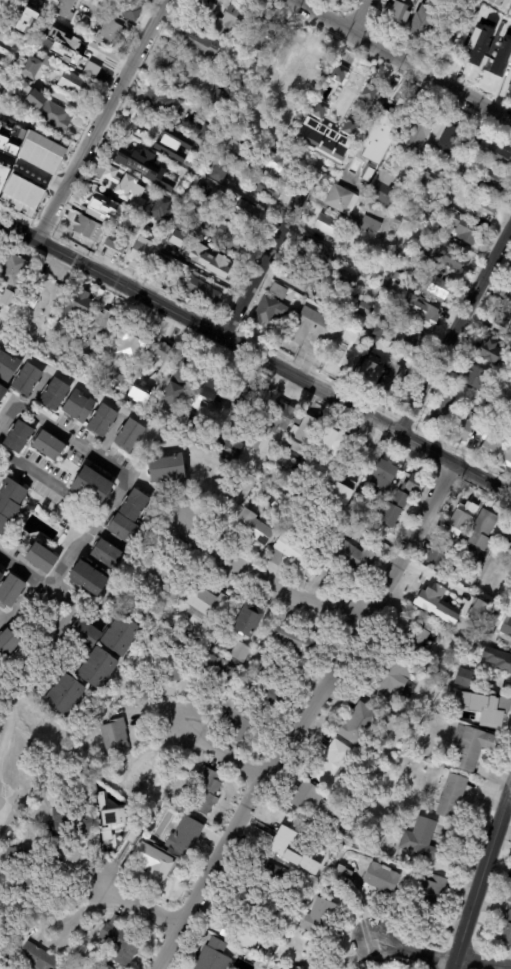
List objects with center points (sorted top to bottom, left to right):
building: (100, 2)
building: (148, 3)
building: (503, 3)
building: (0, 5)
building: (111, 7)
building: (65, 9)
building: (203, 11)
building: (401, 12)
building: (132, 13)
road: (360, 16)
building: (427, 18)
building: (229, 20)
building: (26, 21)
building: (5, 25)
building: (76, 30)
building: (258, 33)
building: (111, 34)
building: (450, 34)
building: (491, 37)
building: (201, 43)
building: (468, 46)
building: (505, 53)
building: (299, 59)
road: (401, 61)
building: (94, 64)
building: (34, 66)
building: (171, 68)
building: (279, 72)
building: (339, 73)
building: (205, 75)
road: (158, 76)
building: (242, 82)
building: (75, 85)
building: (510, 88)
building: (372, 91)
building: (159, 100)
building: (218, 100)
building: (46, 107)
building: (320, 109)
road: (97, 120)
building: (22, 121)
building: (391, 123)
building: (352, 127)
building: (263, 128)
building: (308, 130)
building: (208, 132)
building: (417, 135)
building: (160, 136)
building: (449, 137)
building: (474, 140)
building: (301, 141)
building: (496, 150)
building: (3, 151)
building: (236, 153)
building: (476, 159)
building: (276, 164)
building: (141, 165)
building: (220, 172)
building: (461, 173)
road: (40, 174)
building: (165, 174)
building: (423, 178)
building: (115, 180)
building: (495, 181)
building: (385, 189)
building: (268, 190)
building: (457, 191)
building: (18, 192)
building: (202, 195)
building: (343, 200)
building: (448, 200)
building: (369, 206)
building: (430, 209)
building: (484, 209)
building: (100, 210)
building: (249, 213)
building: (149, 214)
building: (167, 218)
building: (412, 220)
building: (398, 221)
building: (179, 224)
building: (429, 224)
building: (329, 226)
building: (371, 226)
building: (88, 229)
road: (19, 230)
building: (468, 231)
building: (200, 232)
building: (231, 239)
building: (115, 244)
building: (173, 245)
building: (195, 247)
building: (141, 252)
building: (318, 252)
road: (265, 254)
building: (394, 254)
building: (423, 254)
building: (360, 255)
building: (452, 256)
building: (218, 263)
building: (413, 263)
building: (166, 265)
building: (14, 268)
building: (197, 275)
building: (305, 278)
building: (348, 279)
building: (59, 285)
building: (392, 289)
building: (441, 289)
building: (278, 291)
building: (202, 293)
building: (509, 294)
building: (379, 295)
building: (6, 299)
building: (78, 303)
building: (339, 306)
building: (366, 309)
building: (269, 312)
building: (422, 312)
building: (503, 319)
road: (453, 324)
building: (100, 325)
building: (313, 328)
building: (60, 329)
building: (382, 331)
road: (217, 333)
building: (73, 338)
building: (414, 340)
building: (132, 343)
building: (162, 352)
building: (491, 352)
building: (61, 358)
building: (342, 359)
building: (9, 364)
building: (371, 374)
building: (28, 377)
building: (182, 378)
building: (478, 380)
building: (118, 381)
building: (395, 383)
building: (213, 386)
building: (3, 390)
building: (56, 392)
building: (137, 394)
building: (509, 396)
building: (80, 405)
building: (488, 409)
building: (443, 413)
building: (496, 415)
building: (104, 418)
building: (281, 418)
building: (299, 418)
building: (187, 422)
building: (464, 429)
building: (131, 434)
building: (19, 437)
building: (306, 437)
building: (237, 439)
building: (336, 443)
building: (50, 444)
building: (492, 446)
building: (507, 458)
road: (453, 463)
building: (165, 465)
building: (384, 474)
building: (94, 484)
road: (50, 485)
building: (415, 485)
road: (117, 492)
building: (361, 495)
building: (10, 503)
building: (278, 506)
building: (395, 511)
building: (130, 516)
building: (462, 518)
building: (251, 526)
building: (483, 529)
building: (507, 541)
building: (291, 546)
building: (108, 553)
building: (43, 557)
building: (355, 558)
building: (439, 558)
building: (161, 571)
building: (472, 571)
building: (2, 575)
building: (88, 577)
road: (265, 577)
building: (12, 589)
building: (431, 593)
building: (469, 598)
building: (208, 602)
road: (16, 605)
building: (474, 608)
building: (250, 620)
building: (506, 628)
building: (82, 630)
building: (488, 631)
building: (119, 634)
building: (414, 637)
building: (296, 640)
building: (8, 643)
building: (241, 652)
building: (498, 658)
building: (164, 663)
building: (94, 668)
building: (216, 676)
building: (465, 677)
building: (390, 680)
building: (272, 687)
building: (65, 695)
building: (487, 707)
road: (302, 714)
building: (239, 717)
road: (10, 719)
building: (359, 724)
building: (414, 724)
building: (116, 738)
building: (474, 748)
road: (222, 753)
building: (73, 757)
building: (331, 767)
building: (142, 776)
parking lot: (2, 791)
building: (206, 792)
building: (452, 796)
building: (307, 797)
building: (399, 813)
building: (74, 820)
building: (334, 824)
building: (122, 826)
building: (281, 834)
building: (185, 836)
building: (421, 838)
building: (366, 854)
building: (153, 867)
building: (23, 870)
building: (271, 876)
road: (479, 878)
building: (387, 880)
building: (10, 881)
building: (431, 896)
building: (510, 900)
road: (142, 908)
building: (321, 918)
building: (242, 924)
building: (508, 930)
building: (121, 945)
road: (411, 950)
building: (212, 955)
building: (35, 958)
road: (481, 964)
building: (108, 967)
building: (281, 968)

